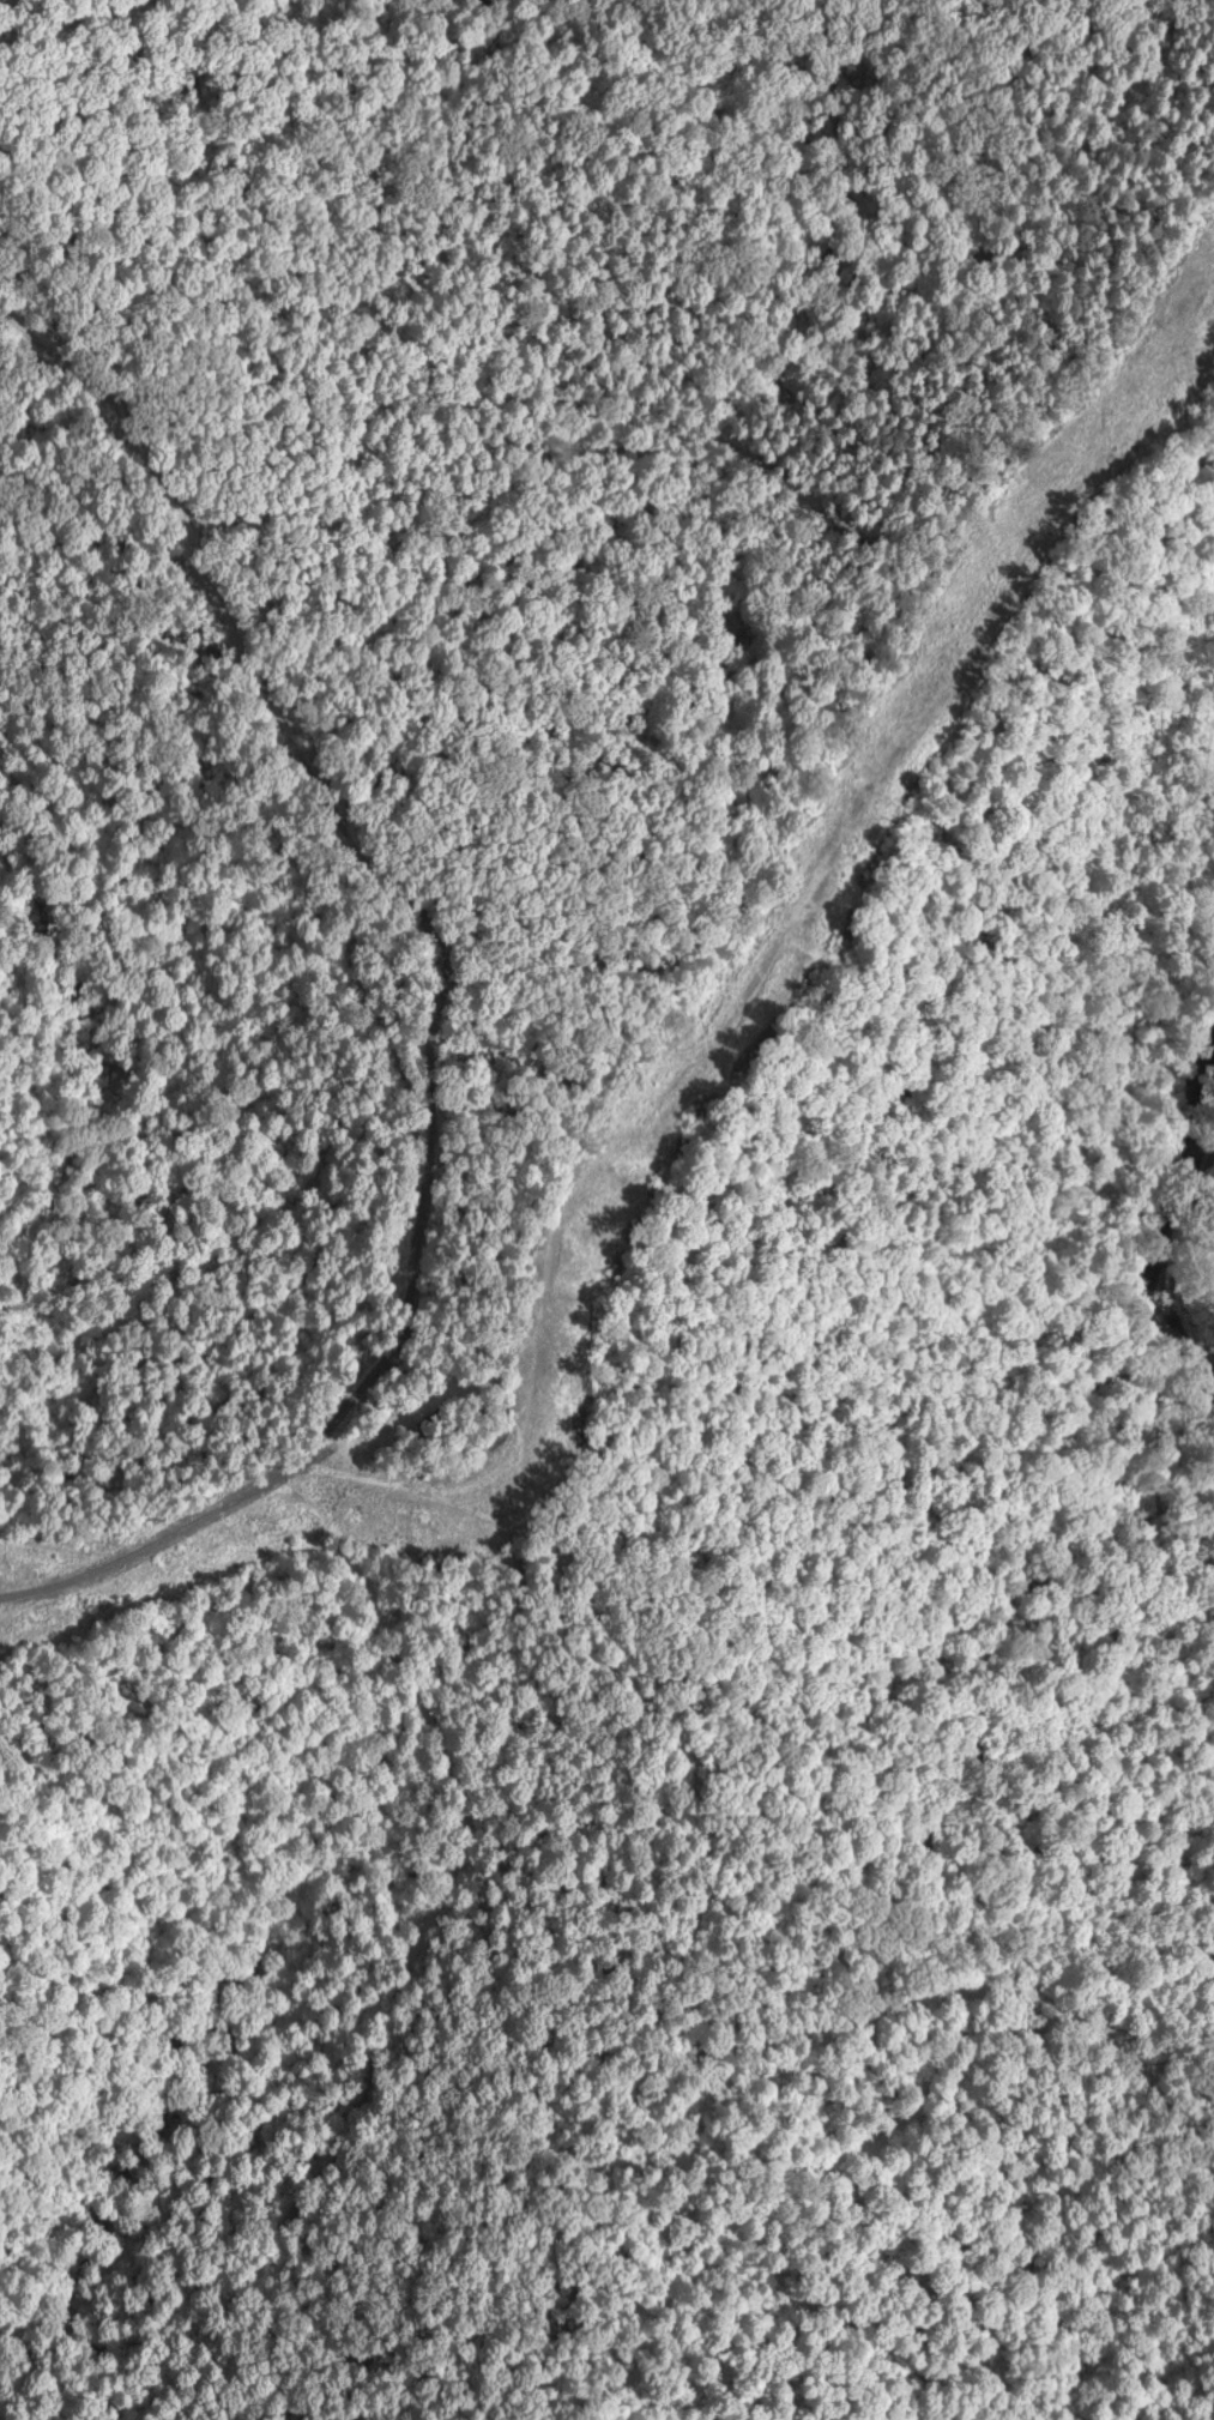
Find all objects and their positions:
river: (1168, 1221)

